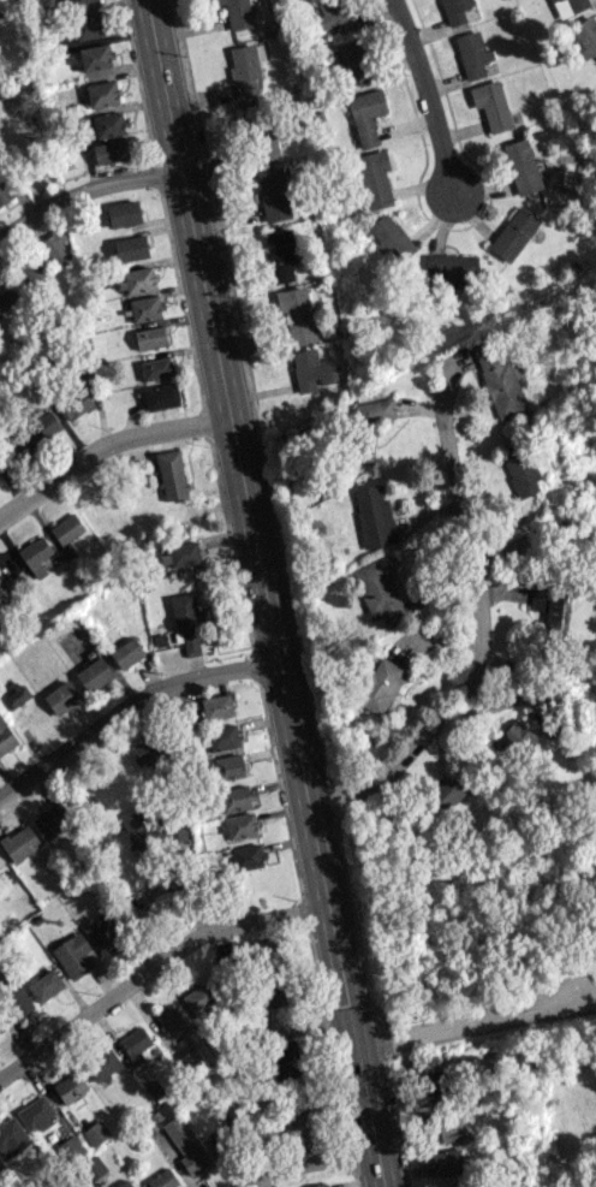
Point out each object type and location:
building: (77, 4)
building: (568, 6)
building: (455, 10)
building: (238, 13)
building: (334, 14)
building: (0, 16)
building: (88, 26)
building: (585, 35)
building: (471, 53)
building: (96, 57)
building: (354, 61)
building: (244, 70)
building: (102, 93)
road: (422, 96)
building: (491, 105)
building: (366, 114)
building: (249, 115)
building: (108, 124)
building: (266, 142)
building: (111, 152)
building: (521, 166)
building: (375, 178)
building: (4, 191)
building: (273, 192)
road: (83, 196)
building: (124, 213)
building: (513, 233)
building: (389, 235)
building: (54, 247)
building: (131, 248)
building: (281, 253)
building: (32, 268)
building: (451, 269)
building: (137, 279)
building: (6, 292)
building: (145, 308)
building: (297, 315)
building: (150, 337)
building: (156, 367)
building: (309, 369)
building: (497, 376)
building: (161, 396)
building: (77, 403)
building: (375, 411)
building: (43, 426)
building: (369, 446)
building: (14, 447)
road: (103, 450)
building: (521, 470)
building: (172, 474)
building: (372, 515)
building: (67, 528)
road: (464, 528)
building: (180, 553)
building: (36, 554)
building: (1, 584)
building: (380, 589)
road: (261, 594)
building: (547, 604)
building: (189, 622)
building: (127, 652)
building: (94, 673)
building: (380, 686)
building: (62, 696)
building: (216, 706)
road: (127, 711)
road: (440, 711)
building: (6, 736)
building: (222, 736)
building: (515, 740)
building: (144, 748)
building: (228, 765)
building: (449, 788)
building: (234, 796)
building: (53, 819)
building: (239, 825)
building: (151, 830)
building: (20, 843)
building: (248, 855)
building: (103, 934)
building: (264, 952)
building: (73, 955)
road: (562, 967)
road: (154, 972)
building: (44, 985)
building: (18, 999)
building: (202, 999)
road: (476, 1017)
building: (172, 1021)
building: (136, 1044)
building: (101, 1064)
building: (287, 1066)
building: (70, 1087)
building: (36, 1114)
building: (299, 1128)
building: (447, 1129)
building: (96, 1132)
building: (11, 1136)
building: (186, 1145)
building: (70, 1147)
road: (305, 1159)
building: (452, 1161)
building: (0, 1168)
building: (93, 1168)
building: (163, 1179)
building: (125, 1183)
building: (320, 1185)
building: (463, 1186)

